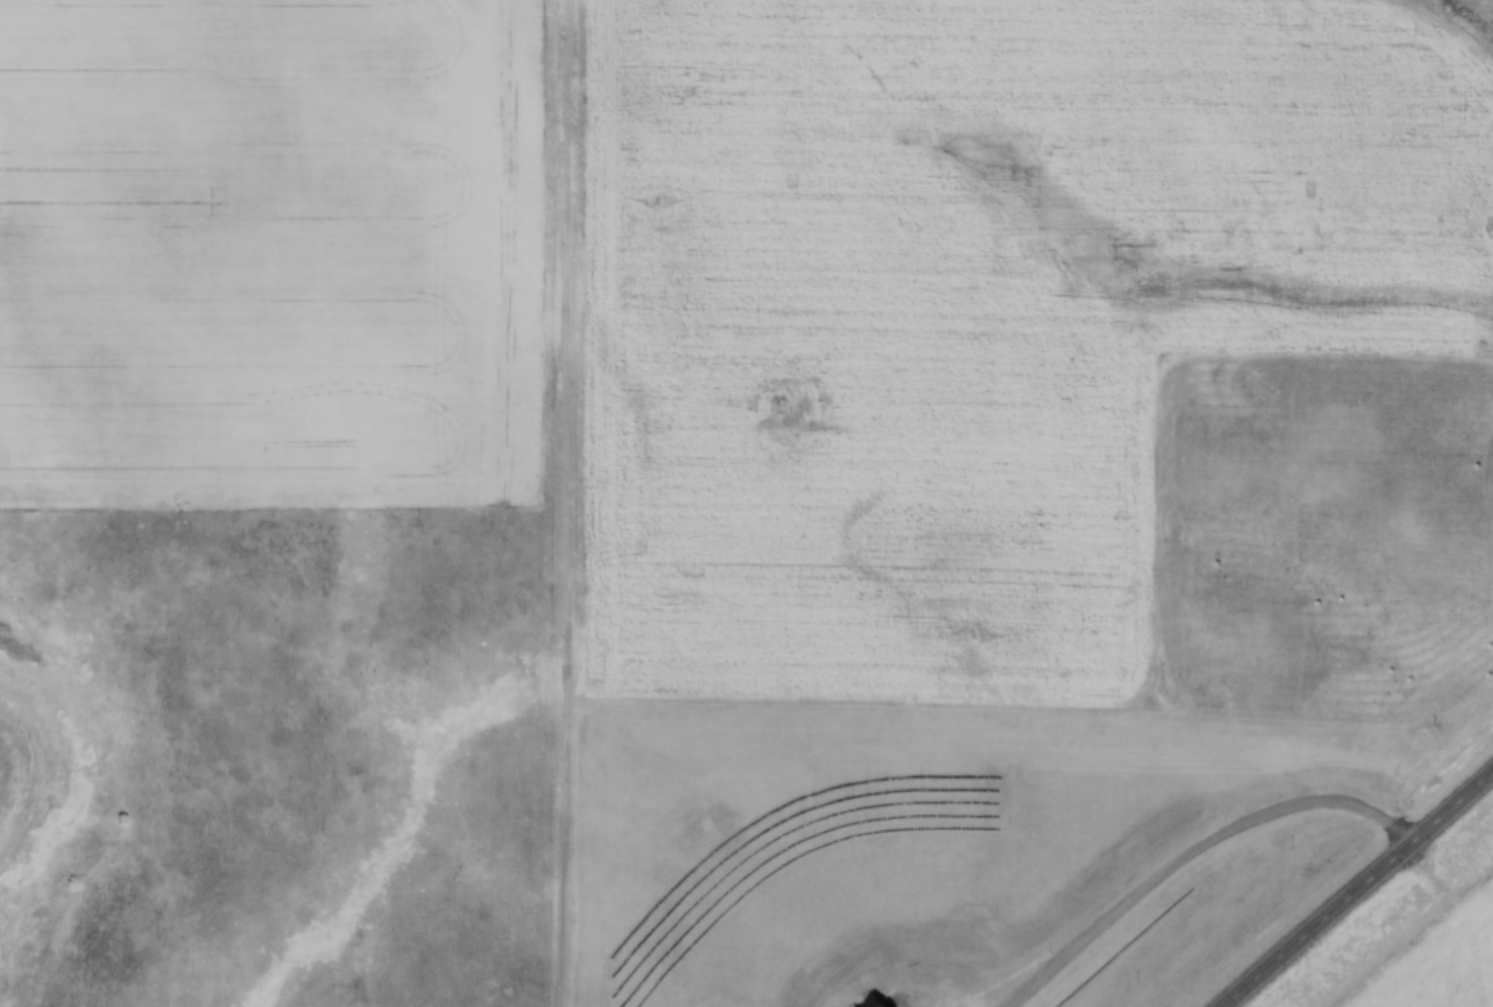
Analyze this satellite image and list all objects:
road: (575, 503)
road: (1358, 890)

